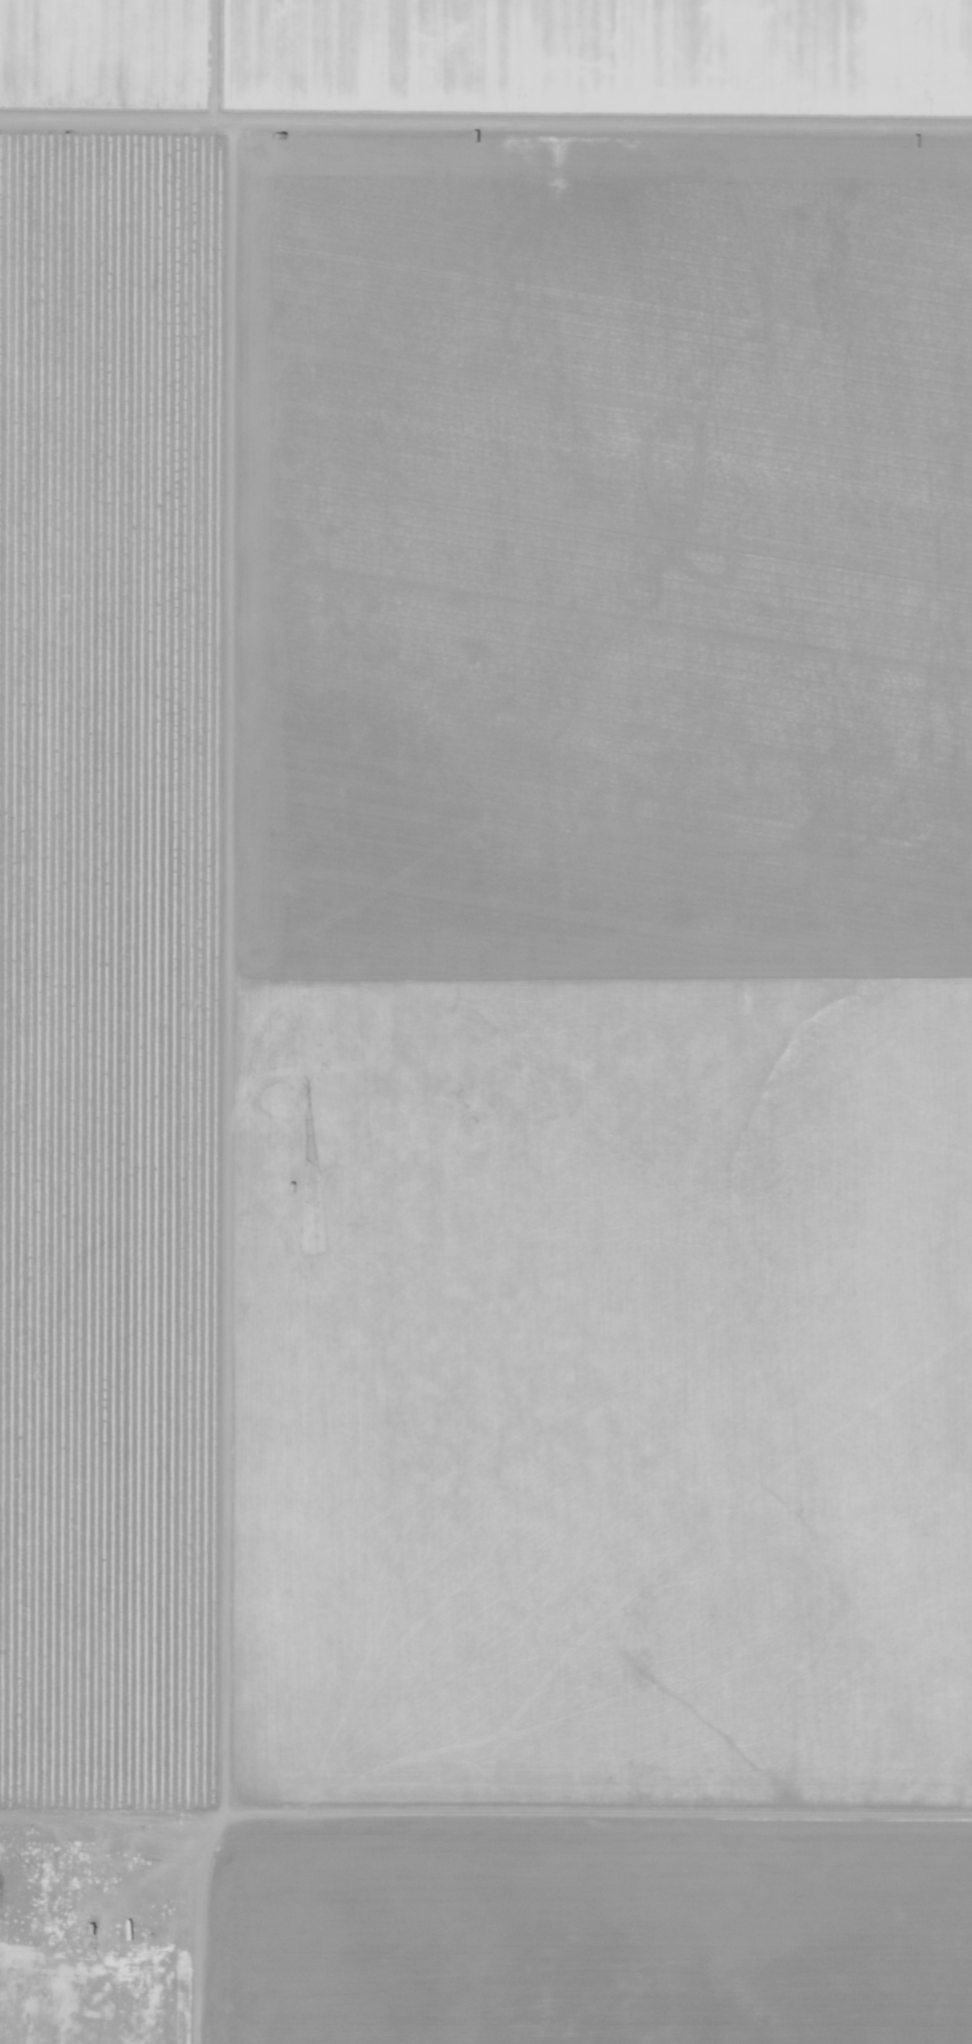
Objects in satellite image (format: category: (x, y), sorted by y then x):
crop: (489, 64)
road: (486, 117)
road: (238, 1022)
road: (485, 1822)
crop: (575, 1932)

